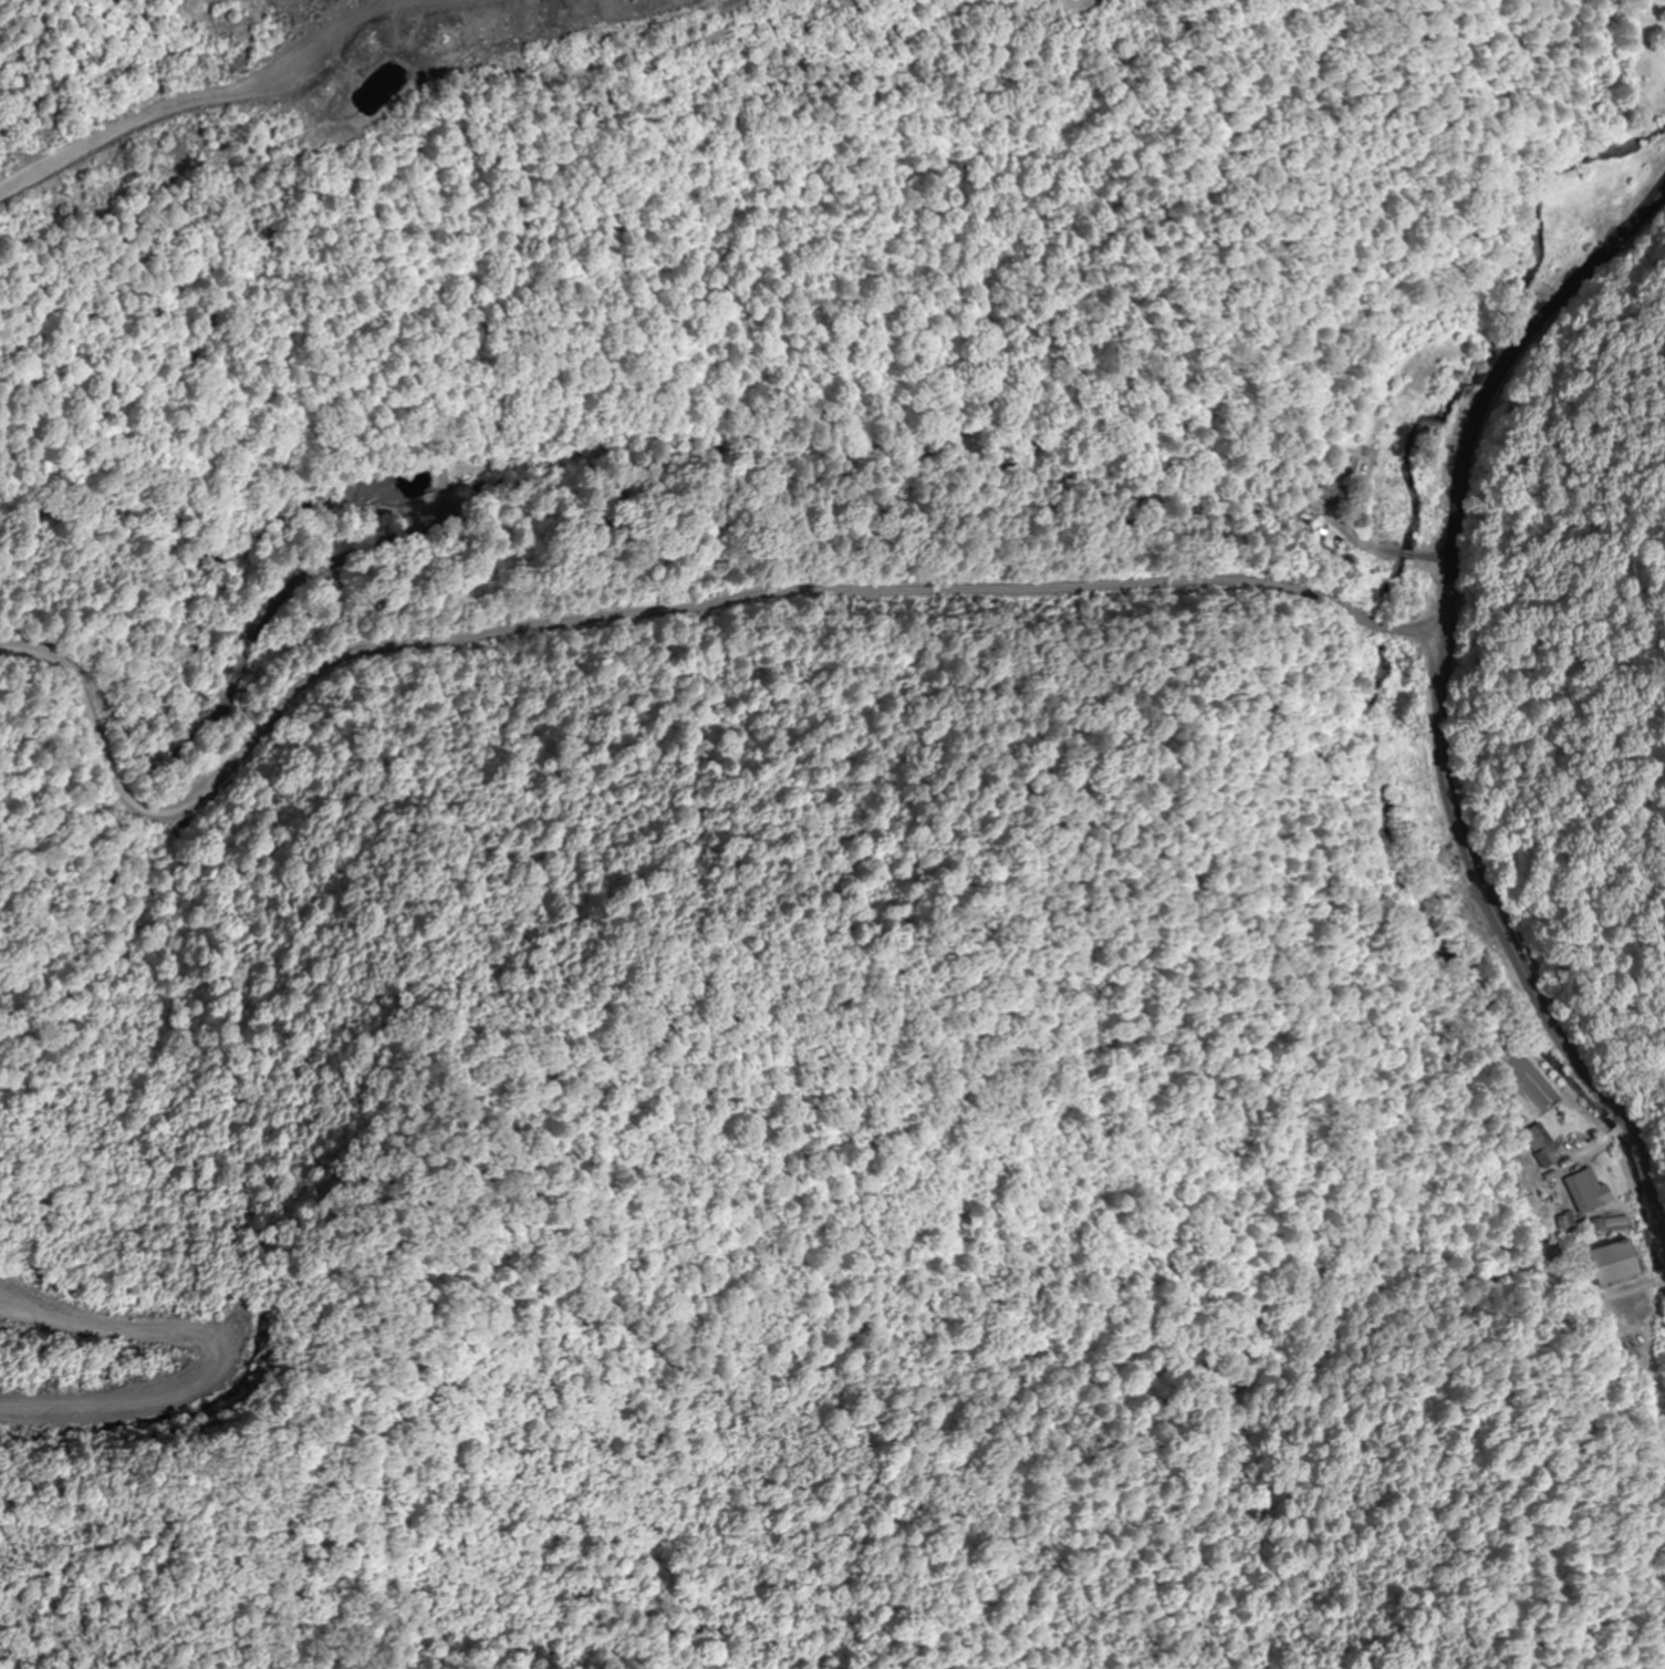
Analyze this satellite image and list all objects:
building: (1330, 491)
road: (1447, 701)
building: (1540, 1146)
building: (1589, 1189)
building: (1607, 1261)

